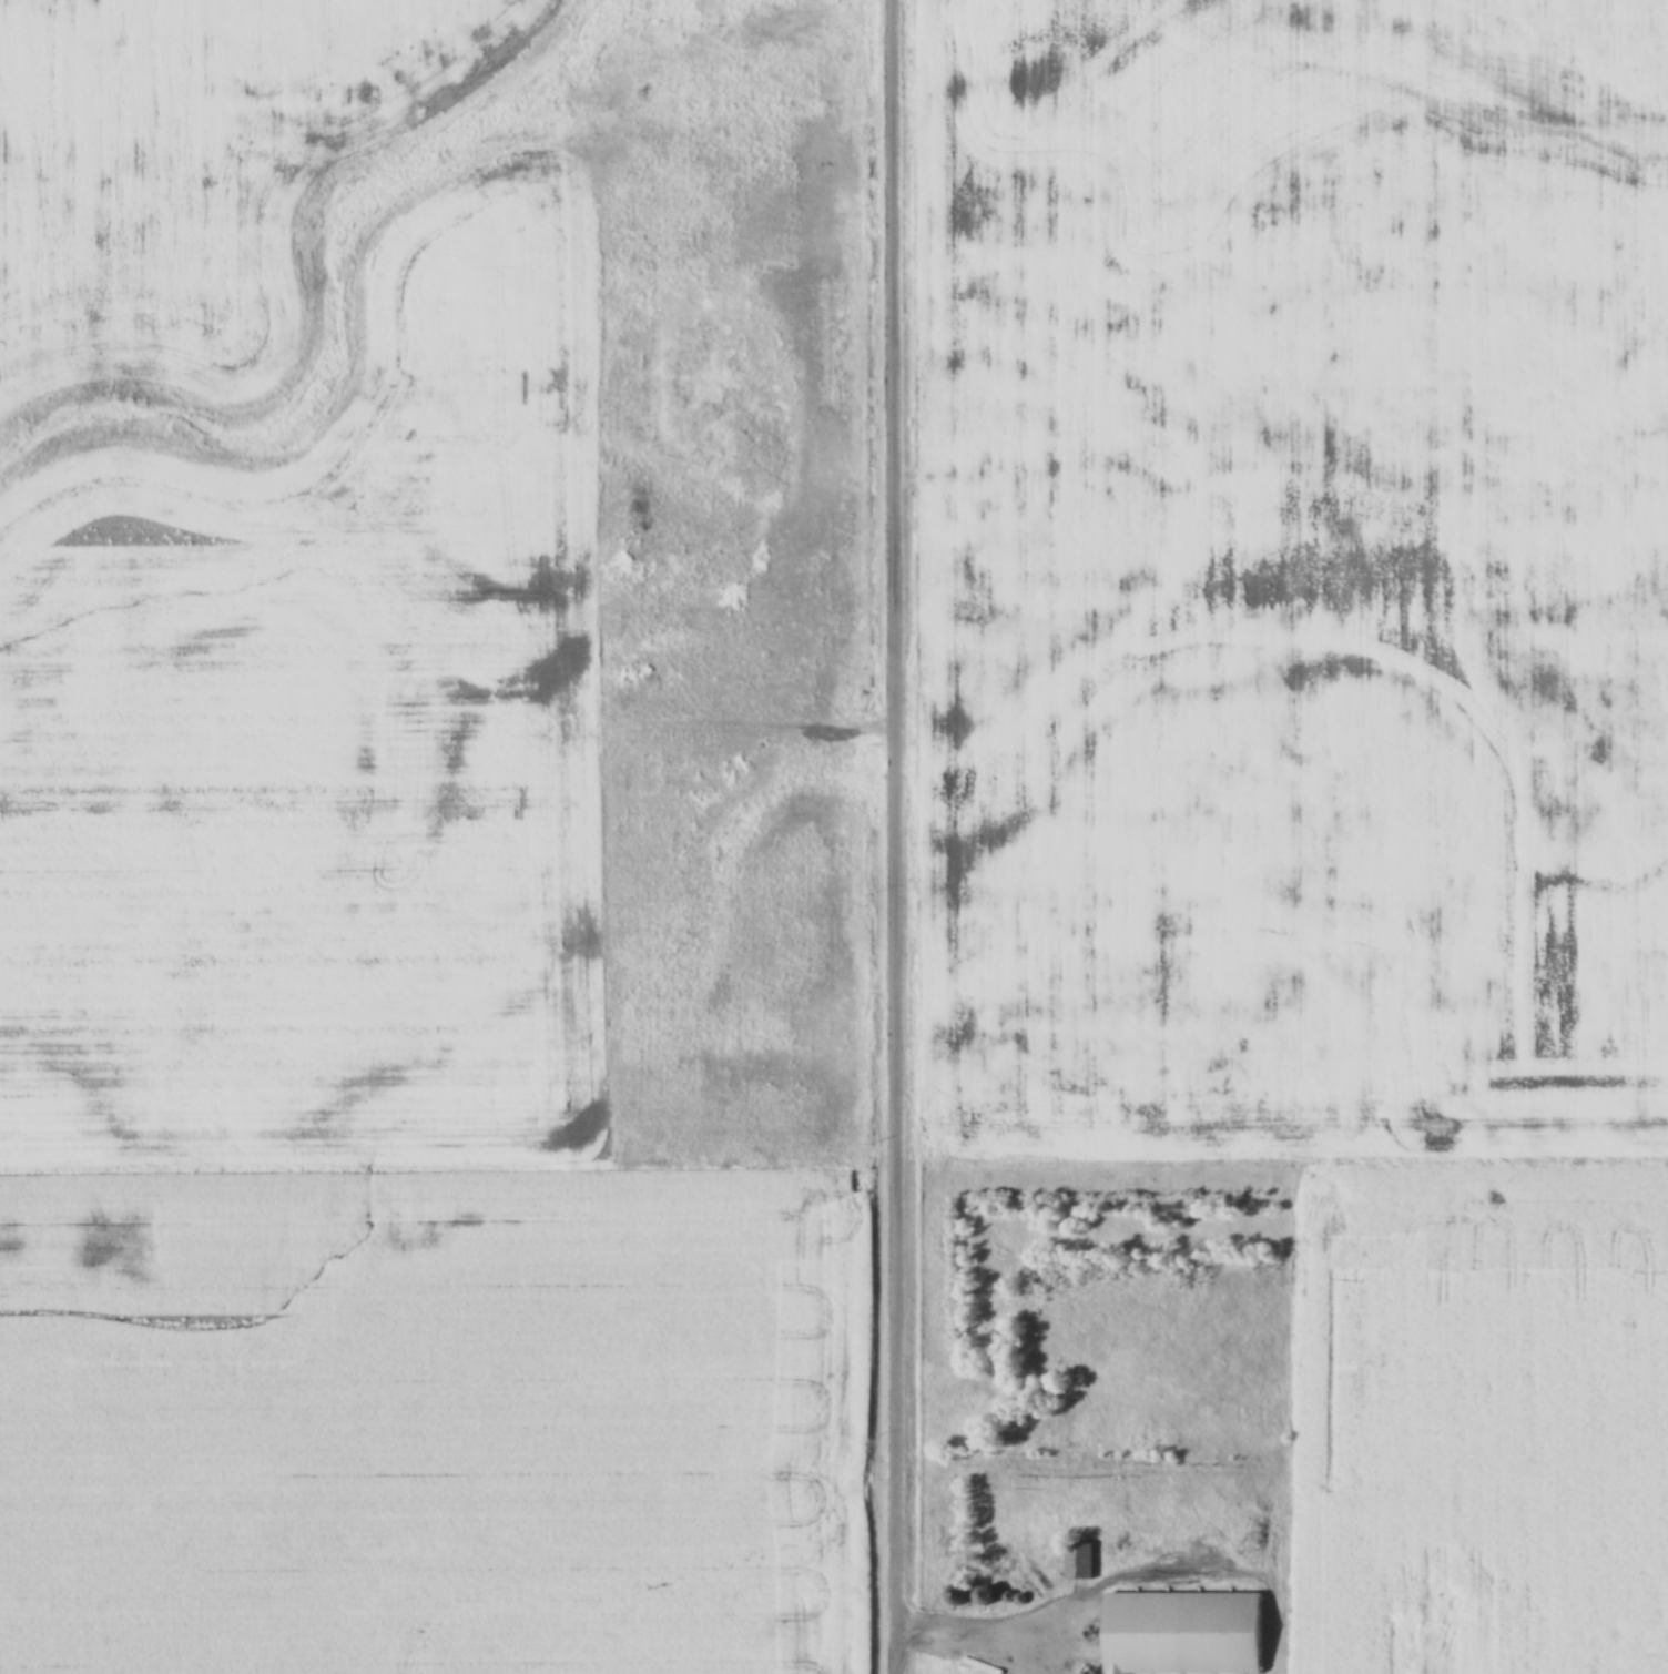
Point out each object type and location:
road: (893, 836)
building: (1075, 1562)
building: (953, 1595)
building: (982, 1596)
building: (1011, 1599)
road: (963, 1643)

